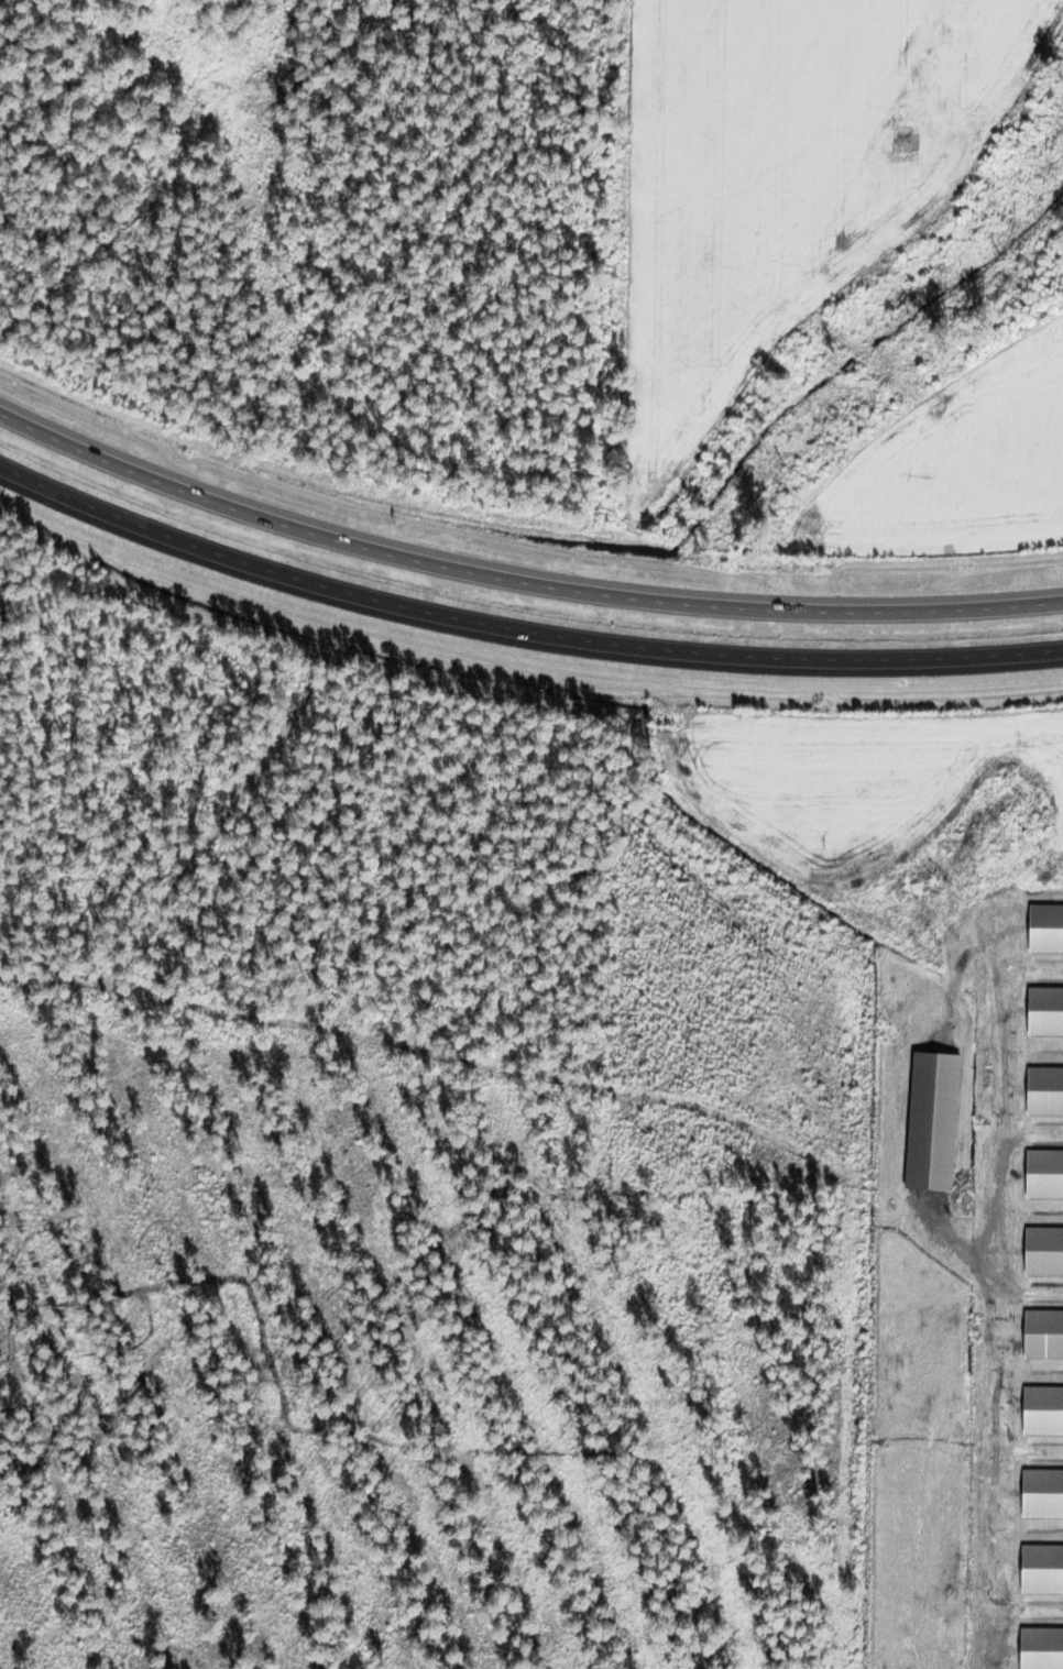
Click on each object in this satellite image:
road: (516, 594)
road: (516, 643)
building: (1046, 929)
building: (1045, 1011)
building: (1045, 1091)
road: (673, 1100)
building: (933, 1122)
road: (1031, 1132)
building: (1044, 1174)
building: (1044, 1251)
road: (972, 1269)
road: (995, 1298)
building: (1043, 1333)
building: (1043, 1412)
road: (1032, 1452)
building: (1042, 1494)
building: (1042, 1570)
road: (1029, 1602)
building: (1042, 1649)

